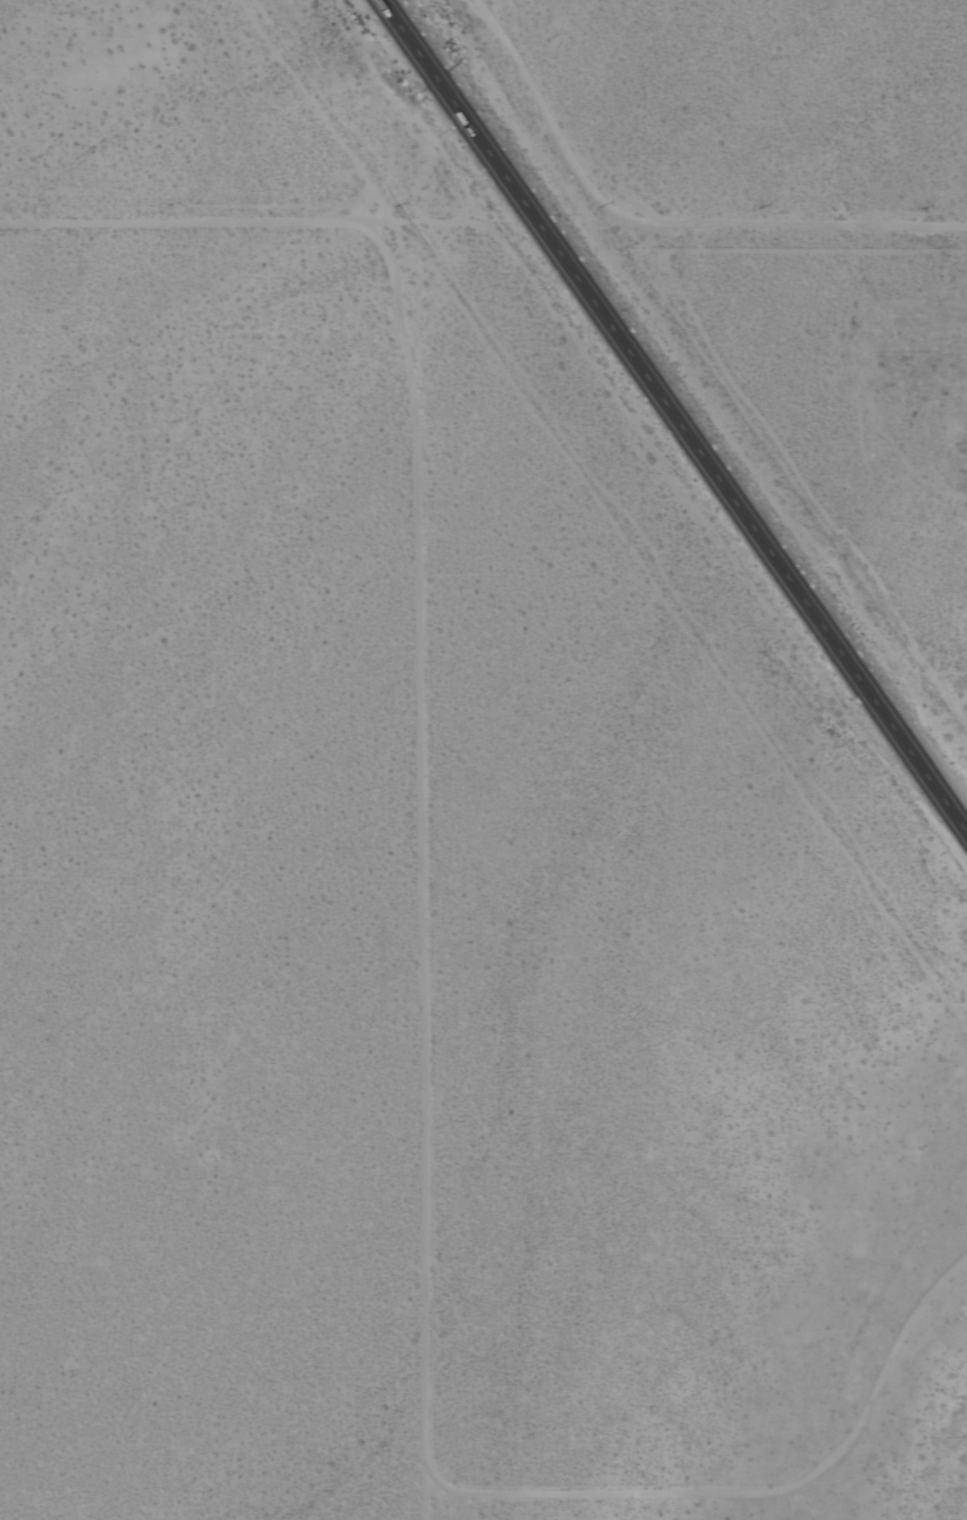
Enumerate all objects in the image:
road: (462, 114)
road: (181, 223)
road: (661, 223)
road: (755, 529)
road: (419, 1175)

